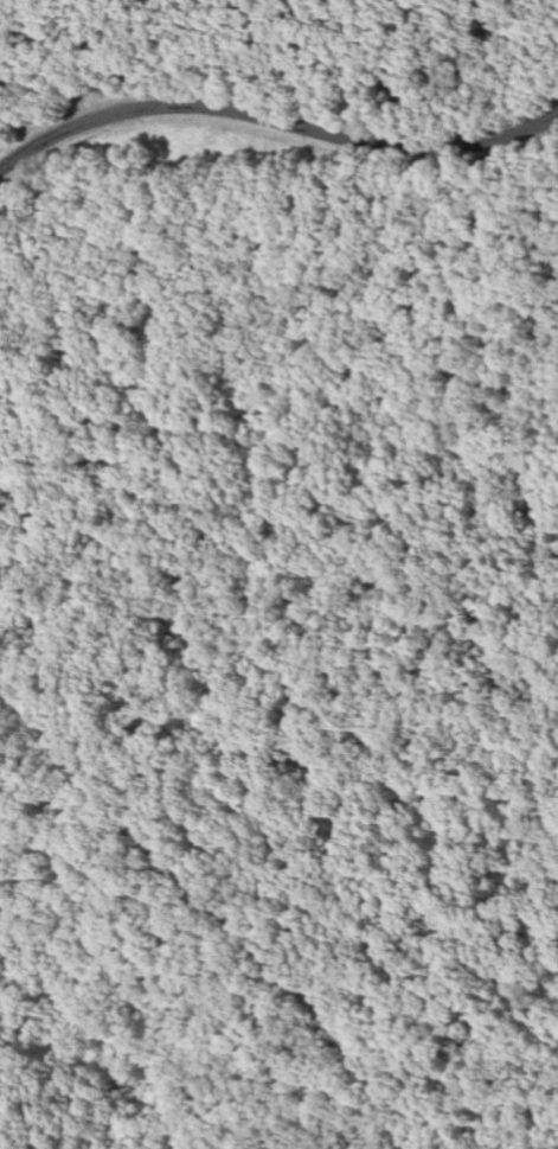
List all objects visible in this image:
road: (275, 125)

